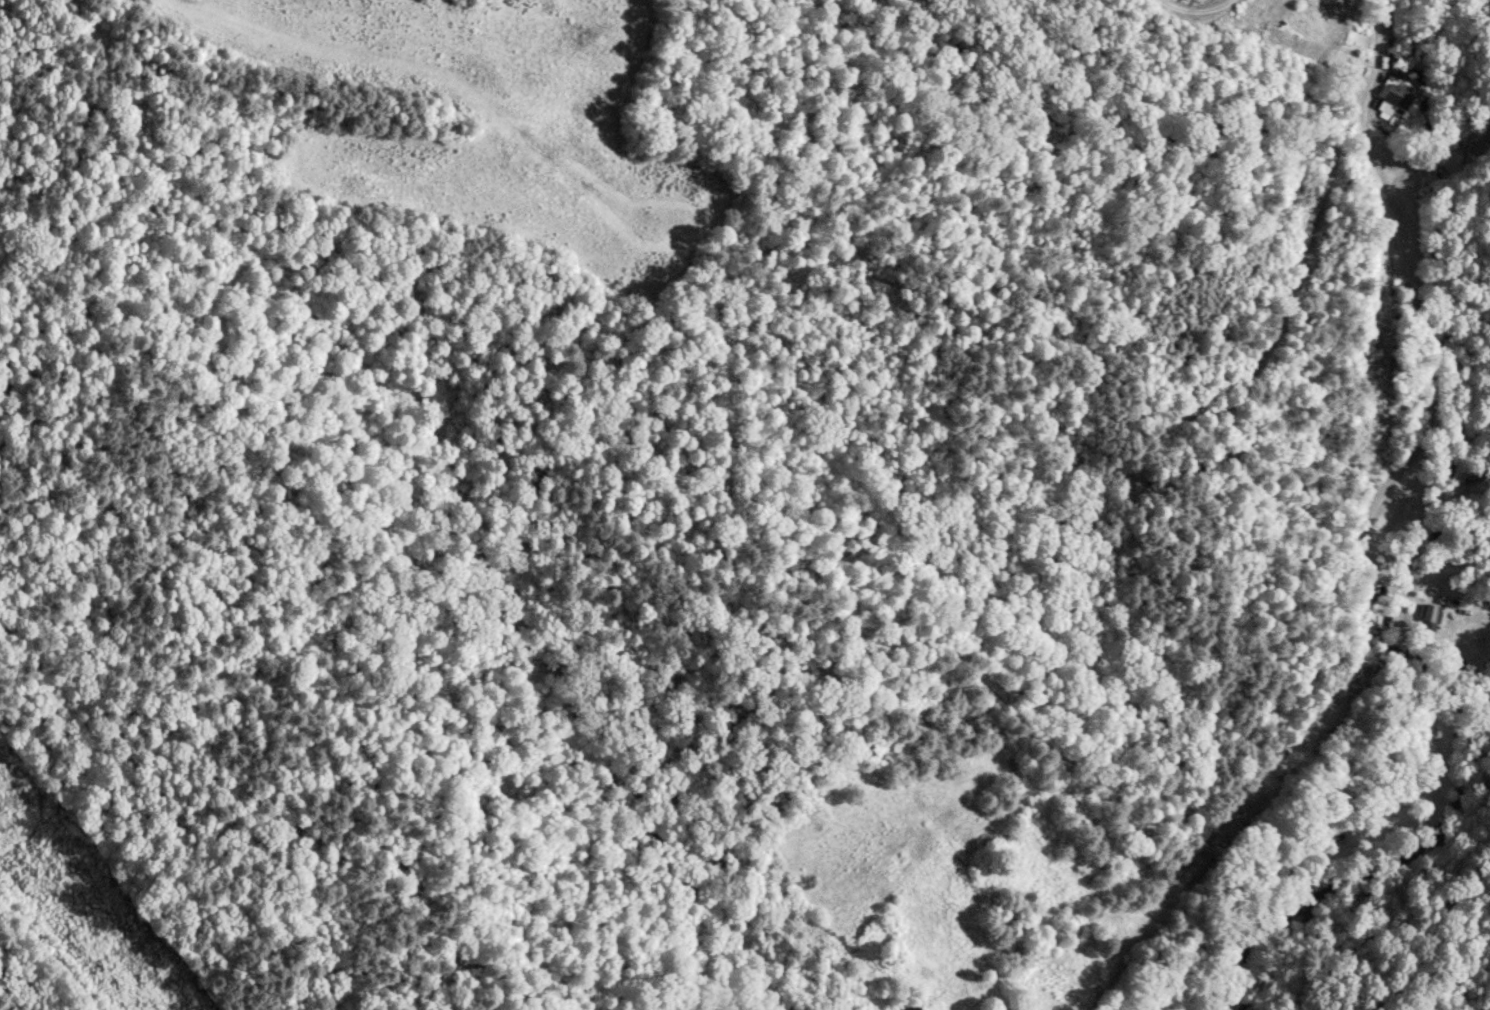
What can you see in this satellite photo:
road: (1450, 306)
road: (1450, 591)
road: (1387, 834)

